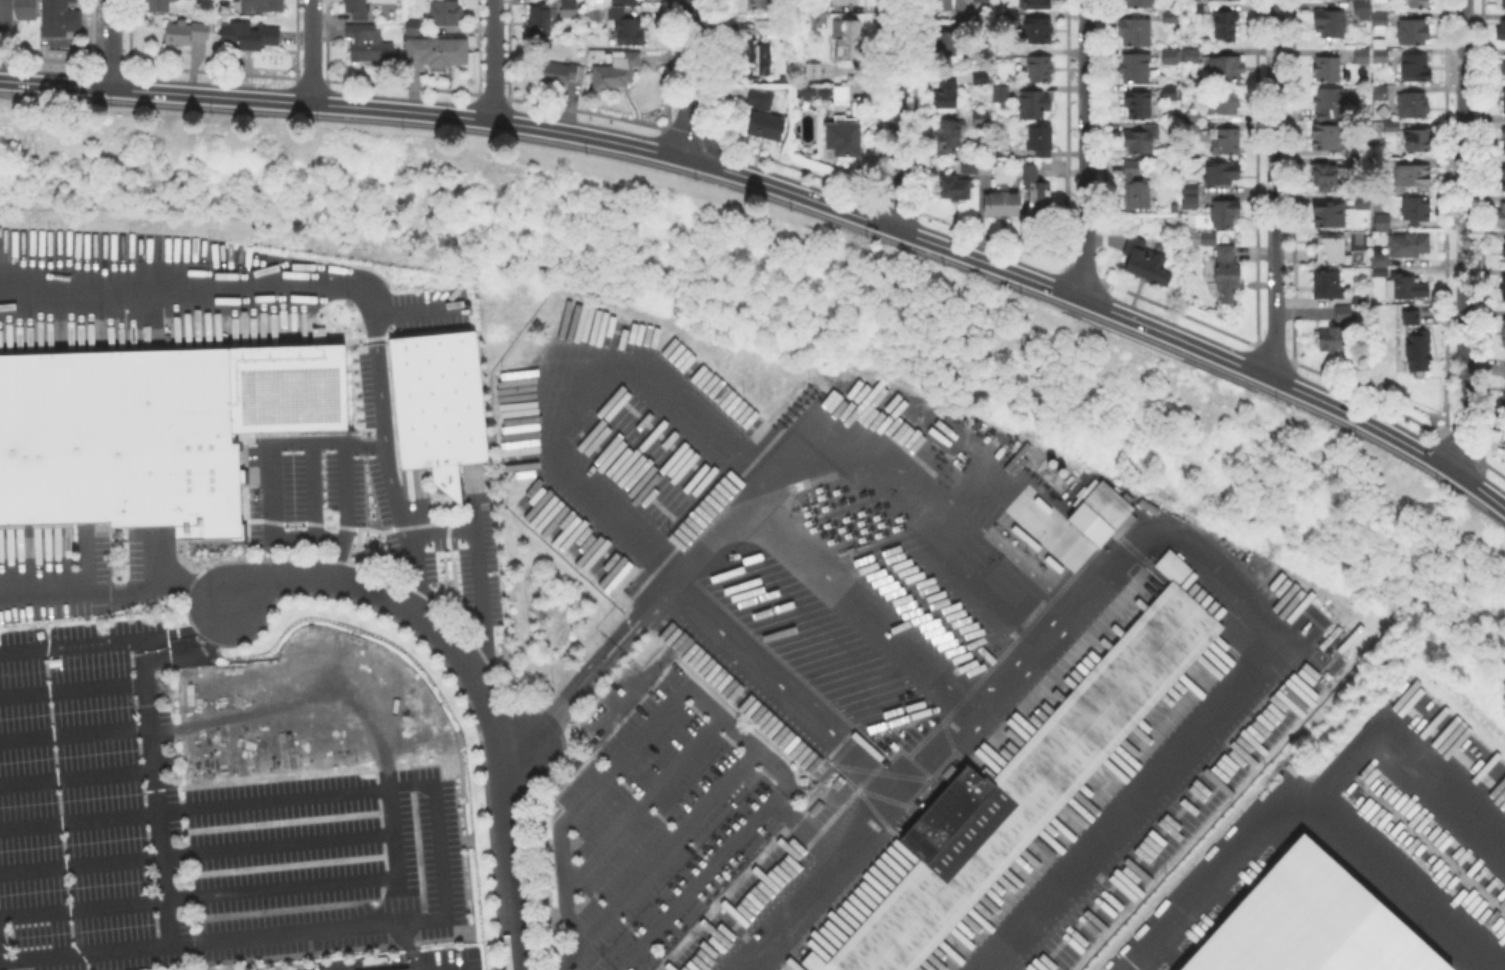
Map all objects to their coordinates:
building: (982, 0)
building: (625, 1)
building: (845, 1)
building: (760, 3)
building: (952, 3)
building: (1039, 3)
building: (1141, 3)
building: (1504, 3)
building: (1416, 4)
building: (159, 5)
building: (260, 5)
building: (821, 6)
building: (357, 8)
building: (569, 8)
building: (1362, 9)
building: (16, 12)
building: (447, 12)
building: (617, 12)
building: (1196, 13)
building: (1171, 16)
building: (61, 18)
building: (540, 19)
building: (1011, 19)
building: (1381, 19)
building: (1330, 22)
building: (1226, 25)
building: (413, 26)
building: (1039, 29)
building: (630, 30)
building: (1501, 30)
building: (1135, 31)
building: (1413, 31)
building: (186, 32)
building: (251, 35)
building: (848, 37)
building: (947, 42)
road: (110, 43)
building: (370, 44)
road: (310, 50)
building: (760, 50)
building: (439, 51)
building: (1380, 51)
building: (1171, 55)
building: (1189, 55)
building: (1362, 55)
road: (493, 60)
building: (1136, 67)
building: (1225, 67)
building: (1416, 67)
building: (1503, 67)
building: (1328, 69)
building: (814, 70)
building: (1041, 70)
building: (616, 71)
building: (563, 72)
building: (981, 77)
road: (691, 79)
building: (1172, 92)
building: (1380, 92)
building: (1001, 93)
building: (809, 94)
building: (842, 94)
building: (946, 95)
building: (1503, 100)
building: (1226, 101)
building: (1332, 102)
building: (1035, 103)
road: (347, 104)
building: (1138, 104)
building: (1413, 106)
building: (764, 114)
road: (896, 114)
building: (1193, 116)
building: (983, 117)
building: (1393, 126)
building: (1193, 127)
building: (950, 133)
building: (845, 136)
building: (1038, 137)
building: (1326, 138)
building: (1419, 138)
building: (1141, 139)
building: (1225, 140)
building: (1503, 140)
road: (1085, 149)
building: (1043, 156)
building: (978, 169)
building: (1131, 169)
building: (1503, 169)
building: (1222, 175)
building: (1324, 175)
building: (1413, 177)
building: (1503, 186)
building: (950, 189)
building: (1191, 189)
road: (1274, 189)
building: (1036, 195)
building: (1137, 196)
building: (1359, 201)
building: (1190, 204)
building: (1001, 205)
building: (1416, 210)
building: (1224, 213)
building: (1330, 214)
building: (1500, 218)
building: (1382, 223)
road: (887, 225)
road: (1464, 235)
building: (1209, 241)
building: (1408, 245)
building: (1330, 250)
building: (1504, 250)
building: (1147, 264)
building: (1380, 266)
road: (310, 269)
building: (1224, 272)
building: (1329, 286)
building: (1504, 287)
building: (1406, 288)
building: (1360, 301)
building: (1343, 315)
building: (1504, 333)
park: (802, 337)
road: (1176, 337)
building: (1331, 340)
building: (1416, 343)
road: (601, 367)
building: (1504, 377)
building: (439, 400)
road: (262, 421)
road: (1392, 435)
building: (120, 442)
road: (1471, 455)
road: (1494, 470)
road: (389, 476)
road: (1481, 476)
building: (1108, 506)
road: (932, 512)
road: (1154, 537)
road: (824, 575)
road: (488, 576)
road: (117, 593)
road: (387, 595)
road: (188, 631)
road: (71, 644)
road: (200, 653)
road: (588, 679)
road: (74, 689)
road: (778, 694)
road: (702, 701)
road: (76, 729)
road: (1404, 741)
road: (78, 774)
building: (1027, 786)
road: (1296, 790)
road: (641, 806)
road: (80, 817)
road: (806, 827)
road: (438, 829)
road: (668, 843)
road: (507, 848)
road: (198, 850)
road: (167, 878)
road: (245, 892)
building: (1305, 925)
road: (411, 947)
building: (407, 969)

